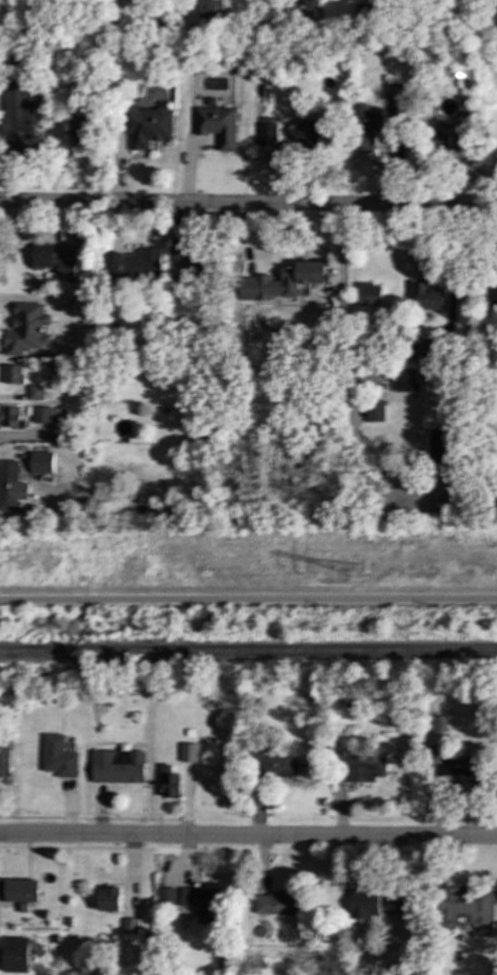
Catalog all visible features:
building: (311, 3)
building: (209, 9)
building: (360, 13)
building: (398, 94)
building: (16, 115)
building: (147, 125)
building: (217, 125)
building: (362, 129)
building: (80, 131)
building: (266, 133)
building: (309, 134)
building: (448, 141)
road: (248, 205)
road: (277, 249)
building: (179, 256)
building: (52, 264)
building: (280, 282)
building: (491, 293)
building: (369, 295)
building: (426, 297)
building: (26, 329)
building: (418, 350)
road: (344, 371)
building: (12, 374)
building: (405, 380)
building: (35, 392)
building: (374, 411)
building: (44, 415)
building: (11, 417)
building: (440, 444)
building: (41, 462)
building: (11, 487)
building: (455, 492)
power tower: (358, 574)
road: (248, 599)
railway: (248, 653)
building: (187, 752)
building: (58, 757)
building: (4, 760)
building: (452, 765)
building: (117, 766)
building: (276, 766)
building: (359, 767)
building: (169, 782)
road: (248, 837)
building: (19, 893)
building: (166, 896)
building: (109, 900)
building: (202, 903)
building: (278, 903)
building: (363, 904)
building: (397, 905)
building: (465, 907)
building: (130, 925)
building: (14, 954)

